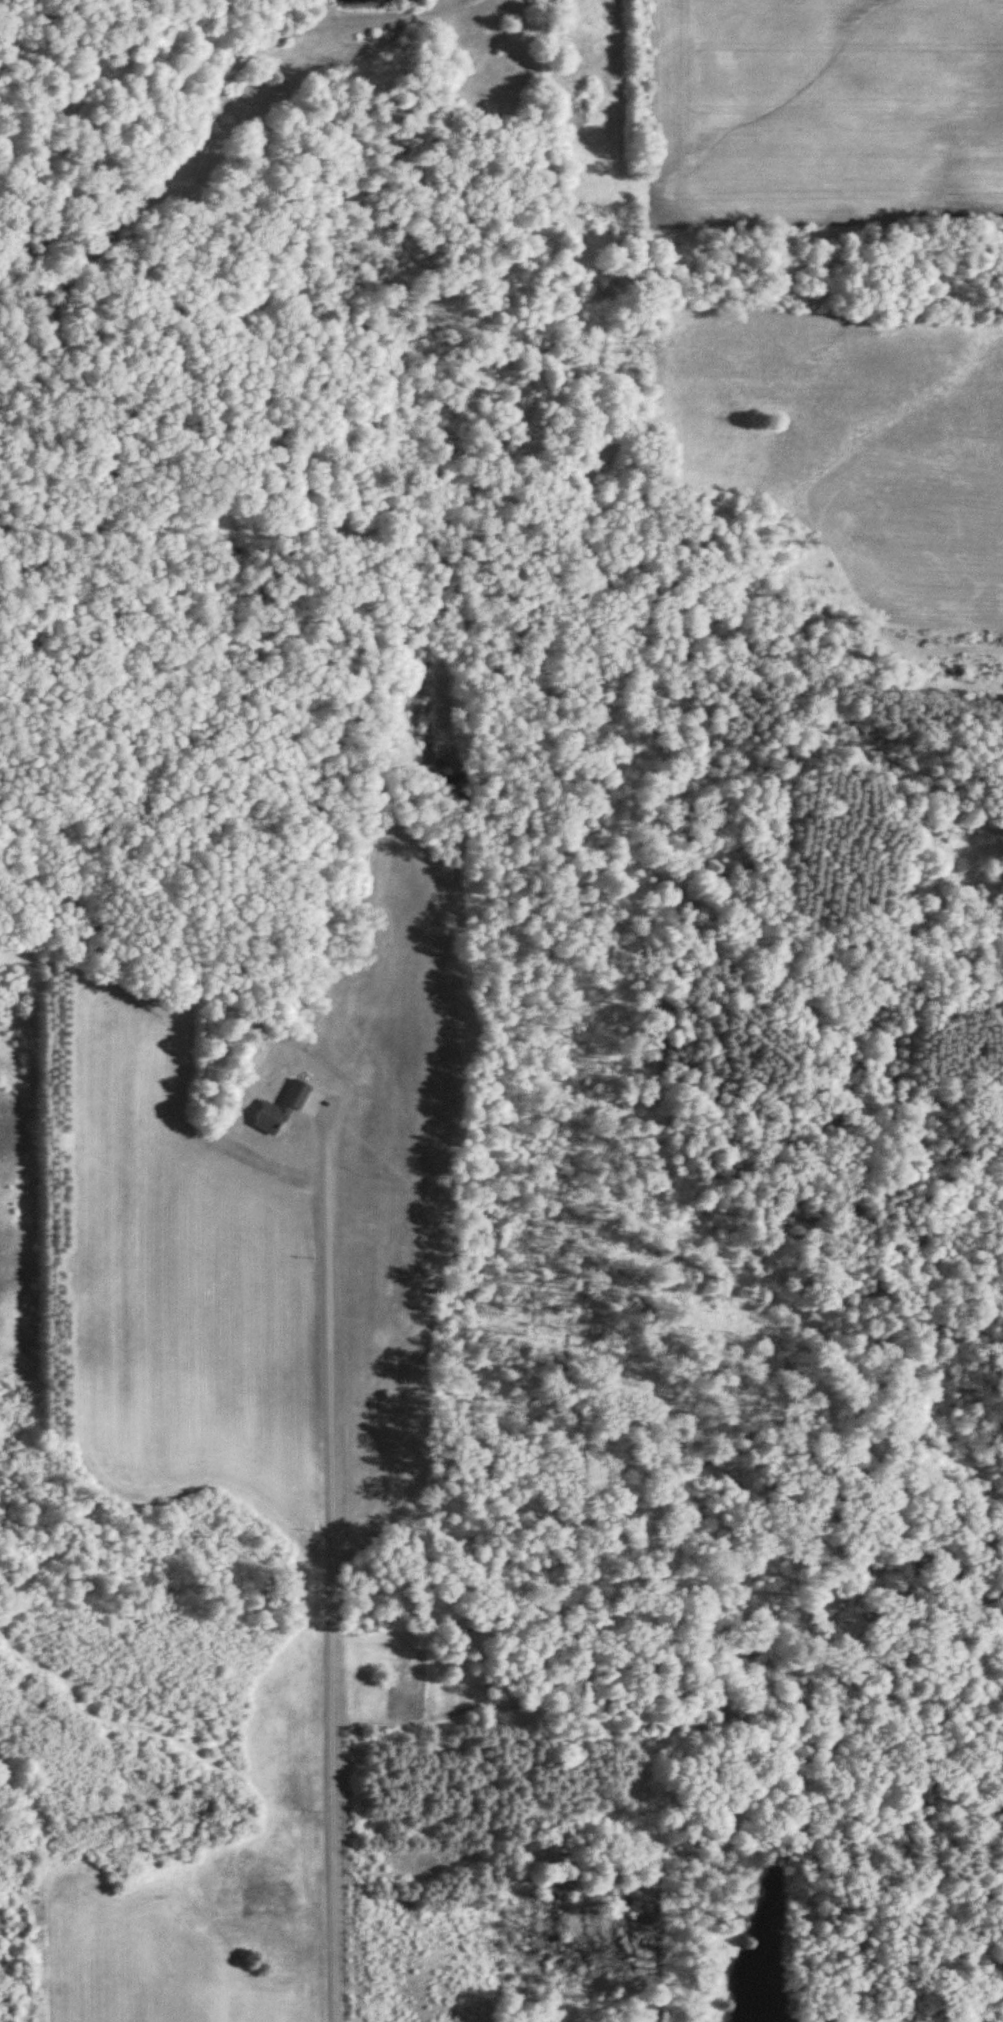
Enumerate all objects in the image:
building: (280, 1110)
road: (314, 1568)

